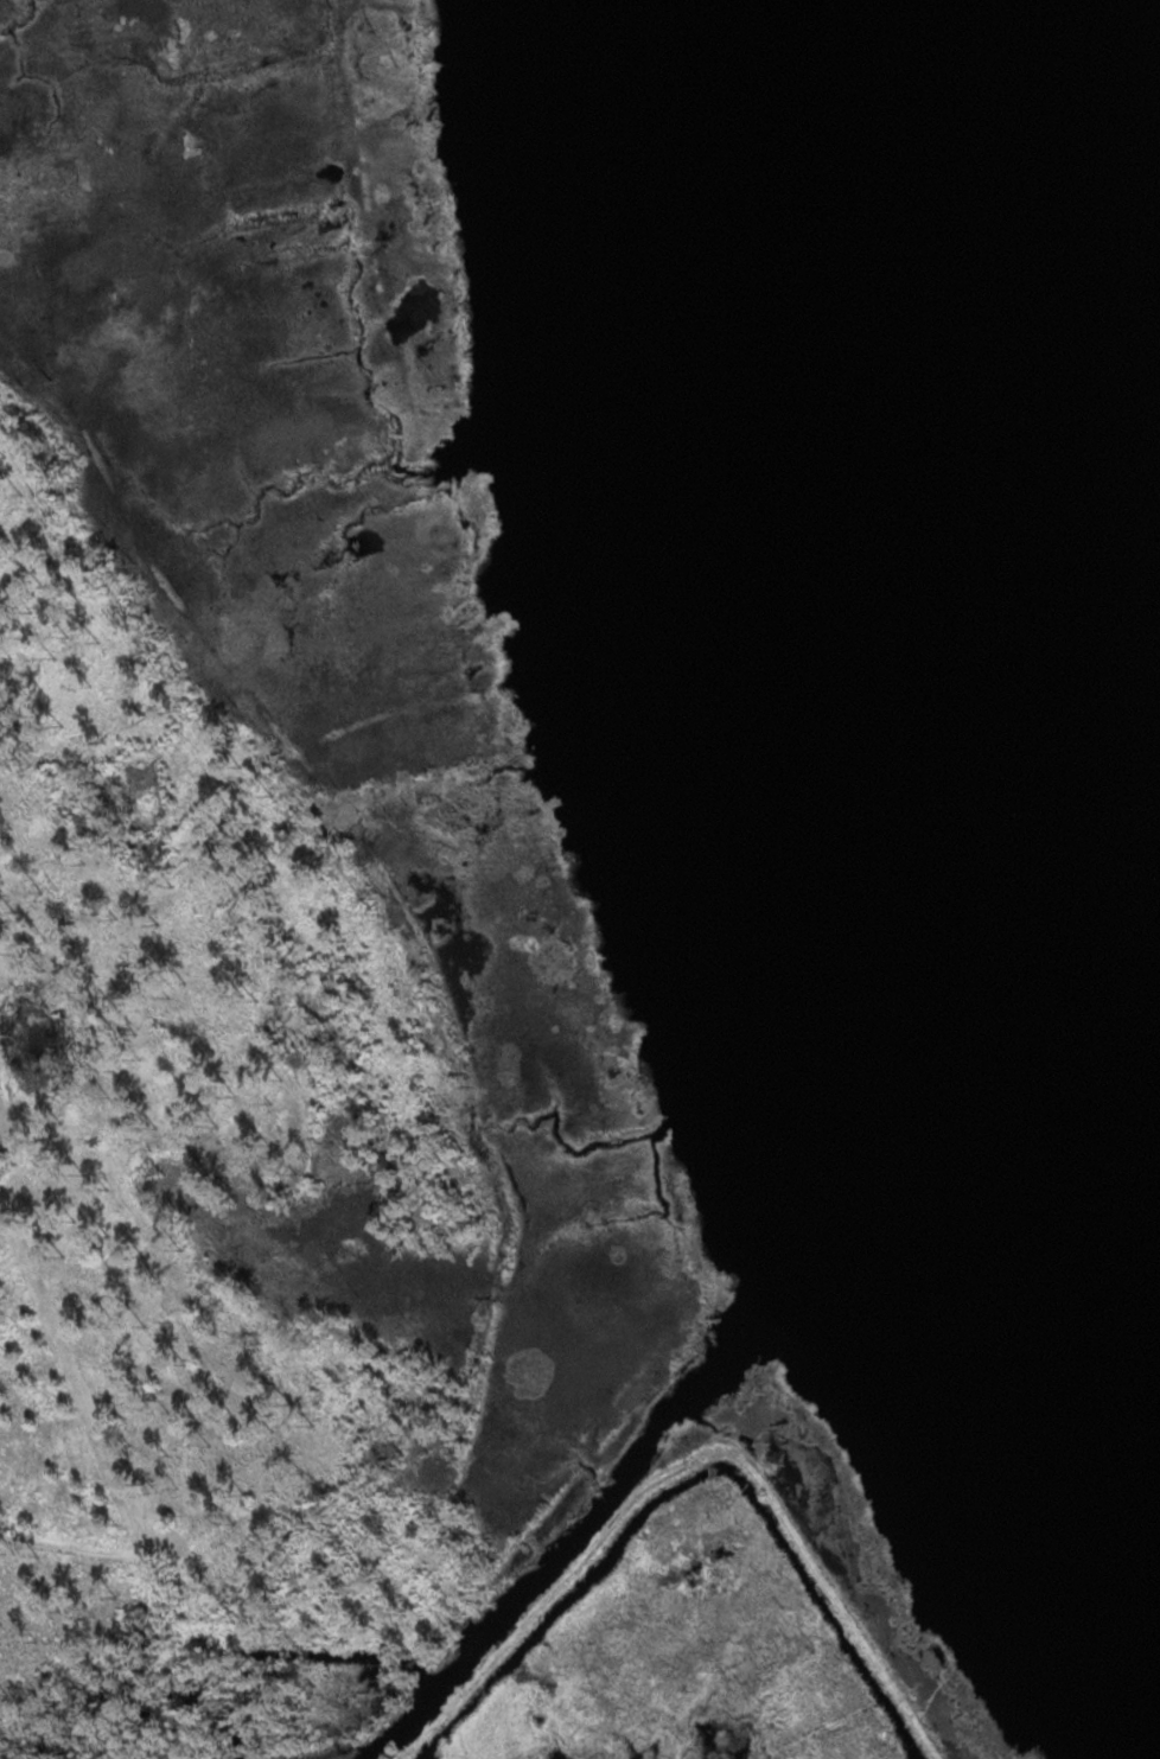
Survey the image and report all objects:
road: (136, 1518)

